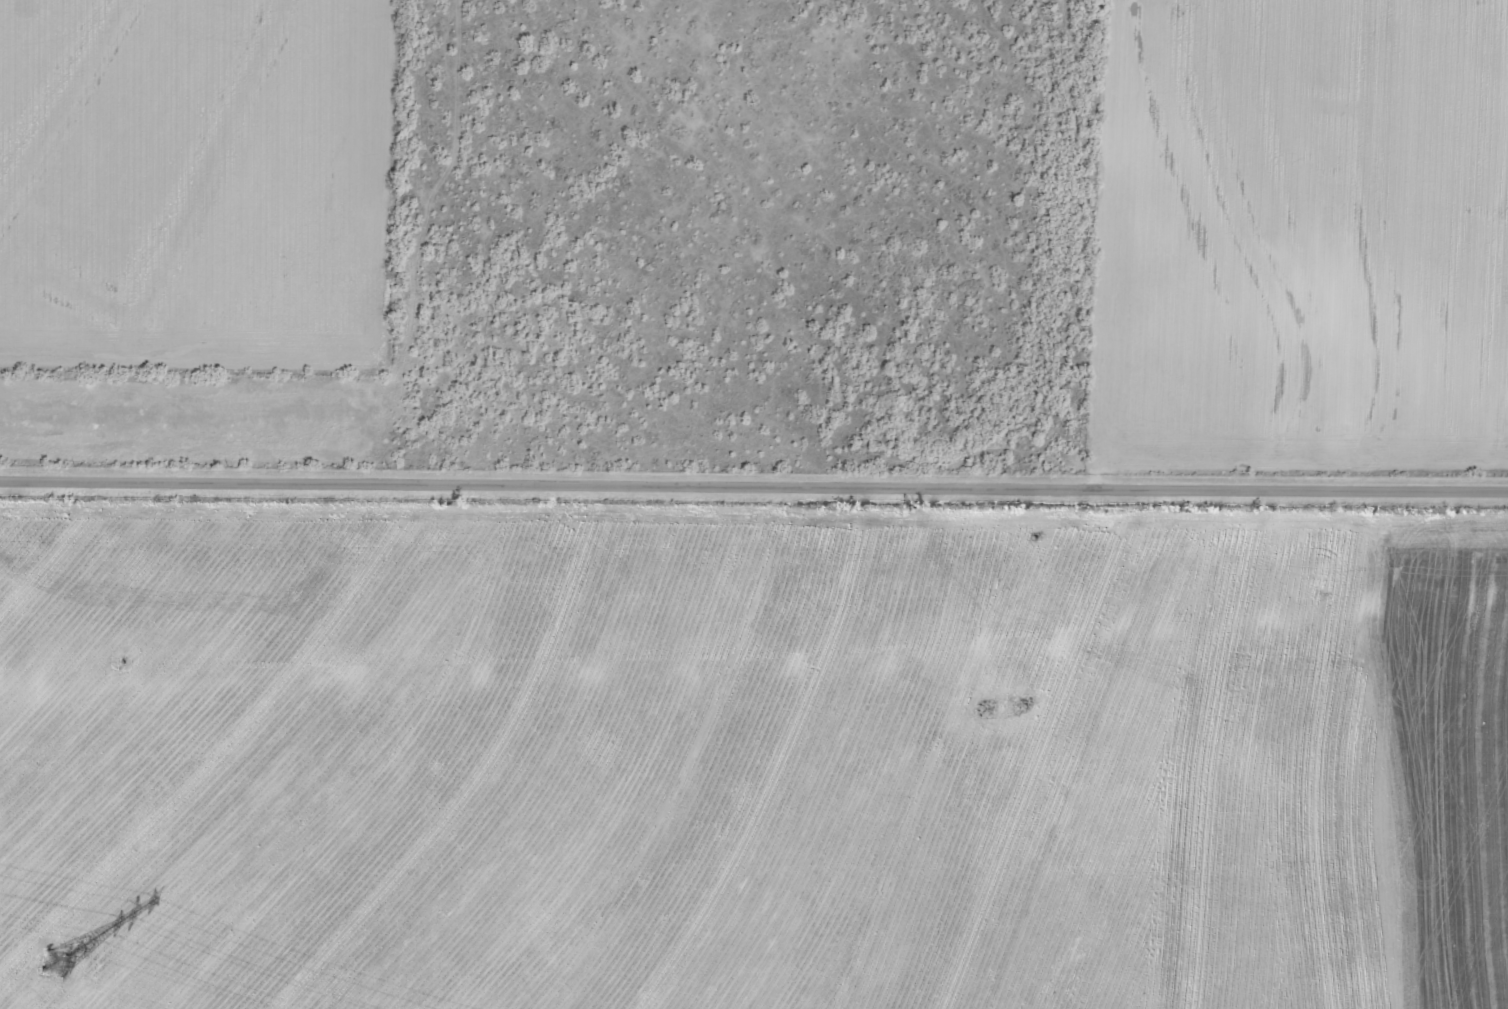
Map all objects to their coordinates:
road: (754, 461)
power tower: (51, 965)

